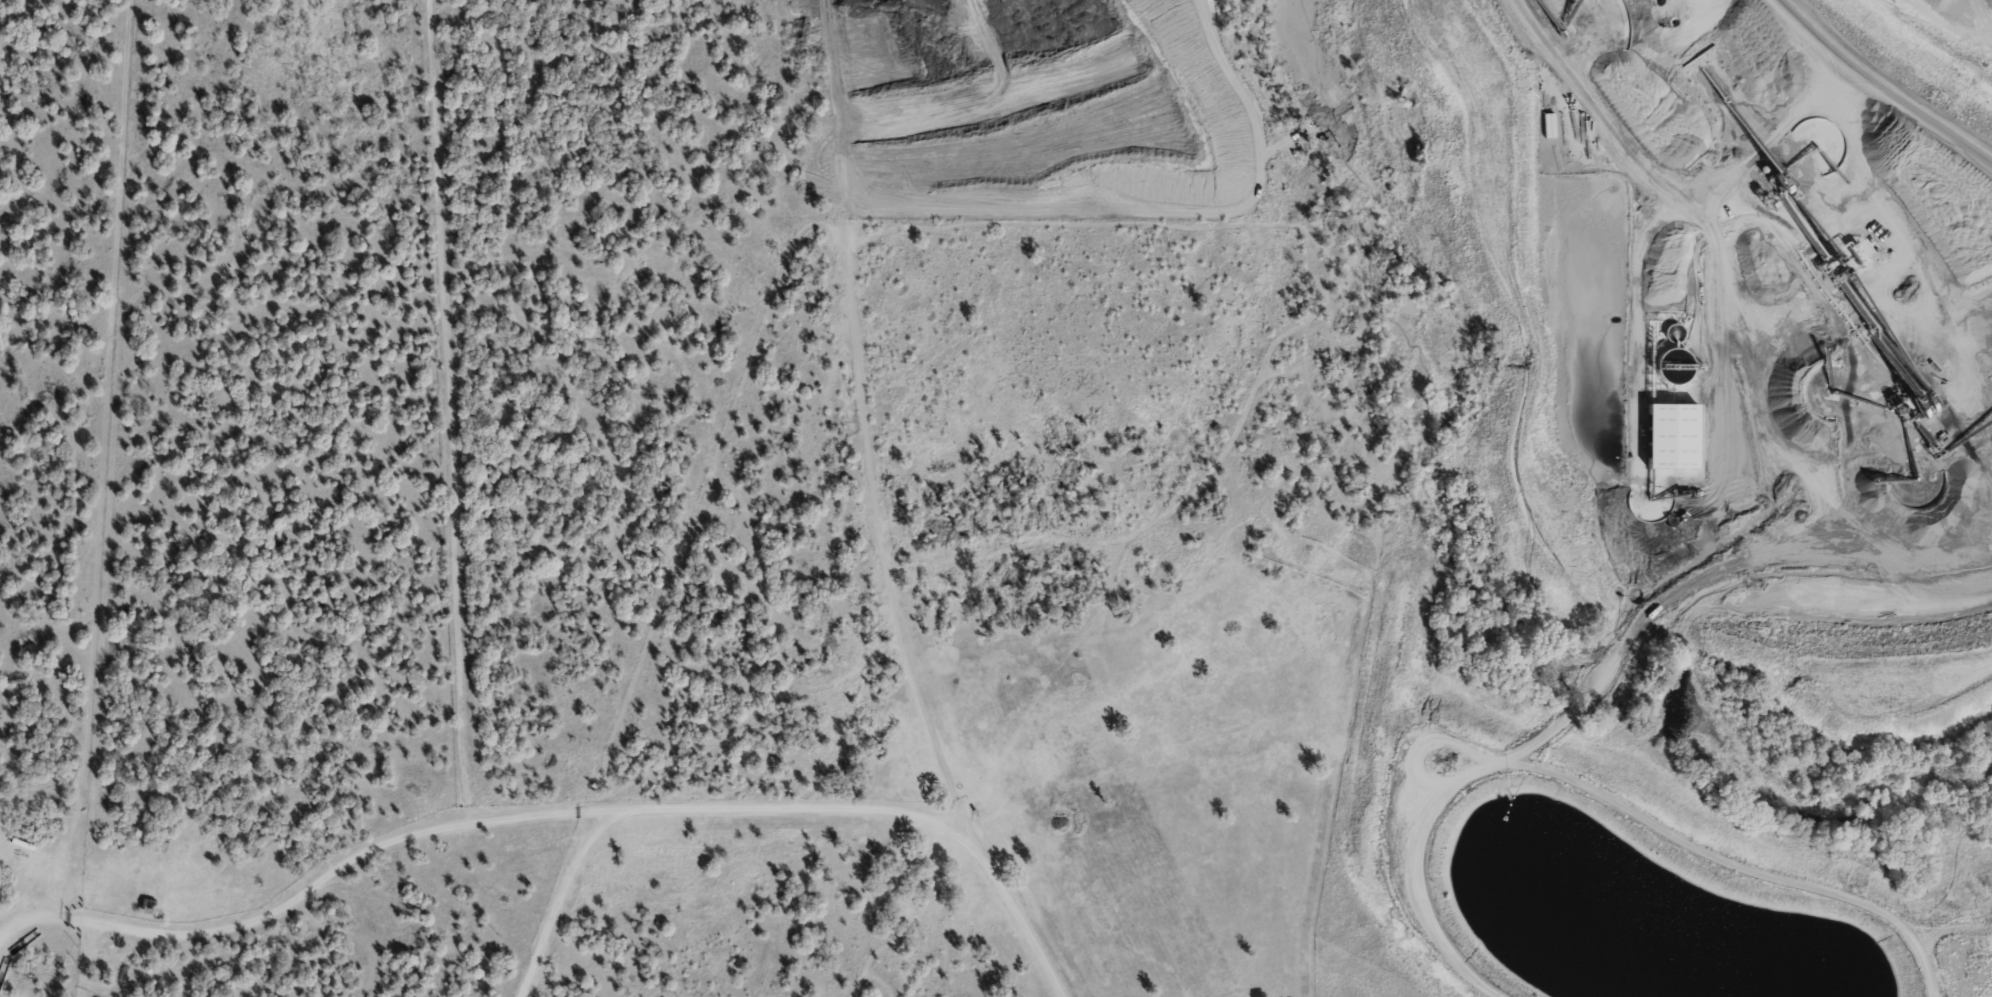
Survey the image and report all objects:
road: (432, 52)
road: (1491, 87)
road: (1251, 401)
road: (864, 427)
road: (450, 464)
road: (474, 822)
road: (558, 898)
building: (148, 905)
road: (1018, 918)
road: (85, 959)

